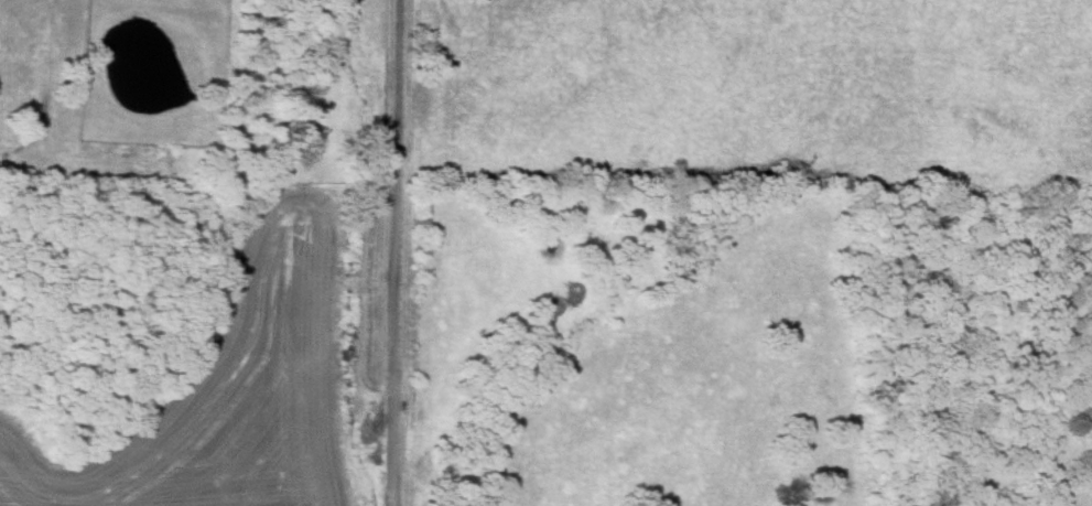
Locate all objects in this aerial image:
road: (397, 252)

